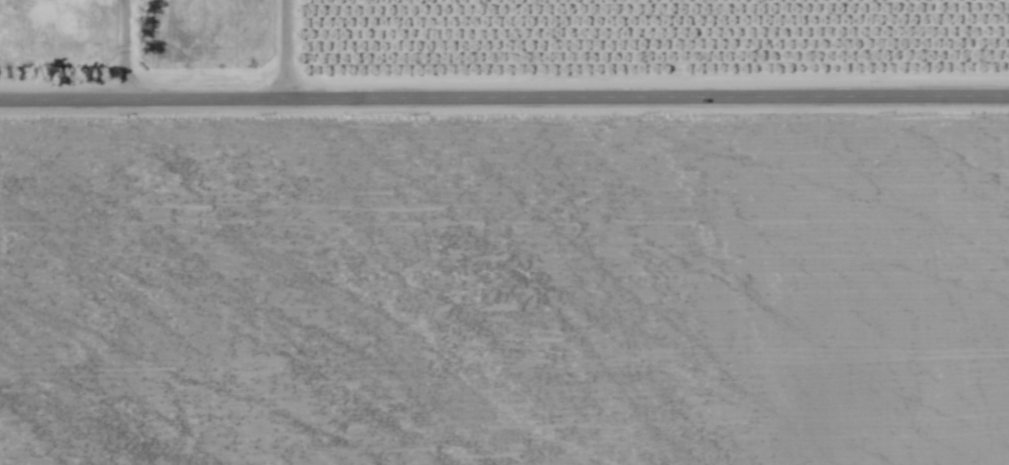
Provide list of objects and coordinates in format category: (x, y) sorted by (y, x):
road: (123, 48)
road: (285, 48)
road: (504, 94)
crop: (504, 232)

